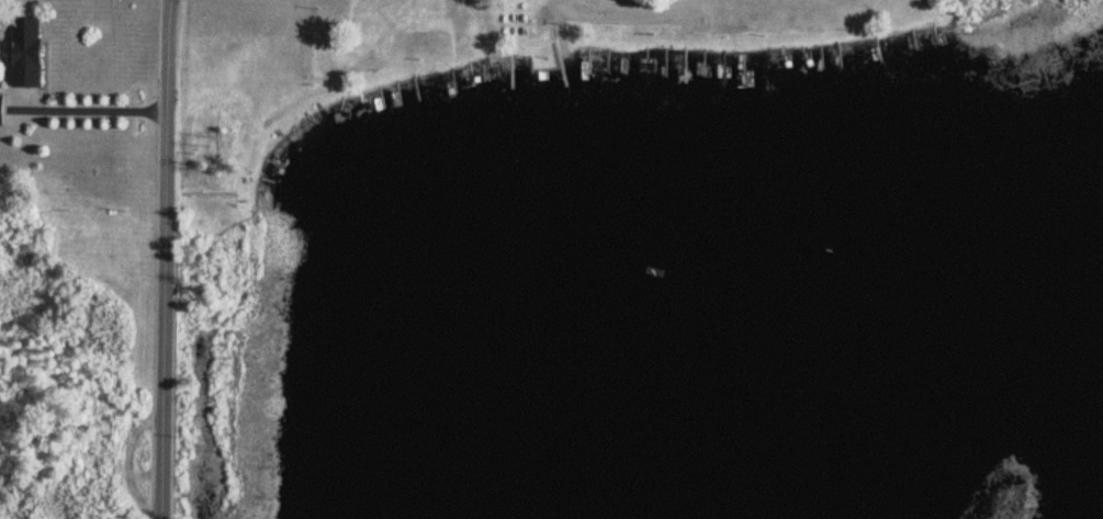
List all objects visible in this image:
building: (22, 53)
building: (0, 109)
road: (91, 110)
road: (161, 259)

